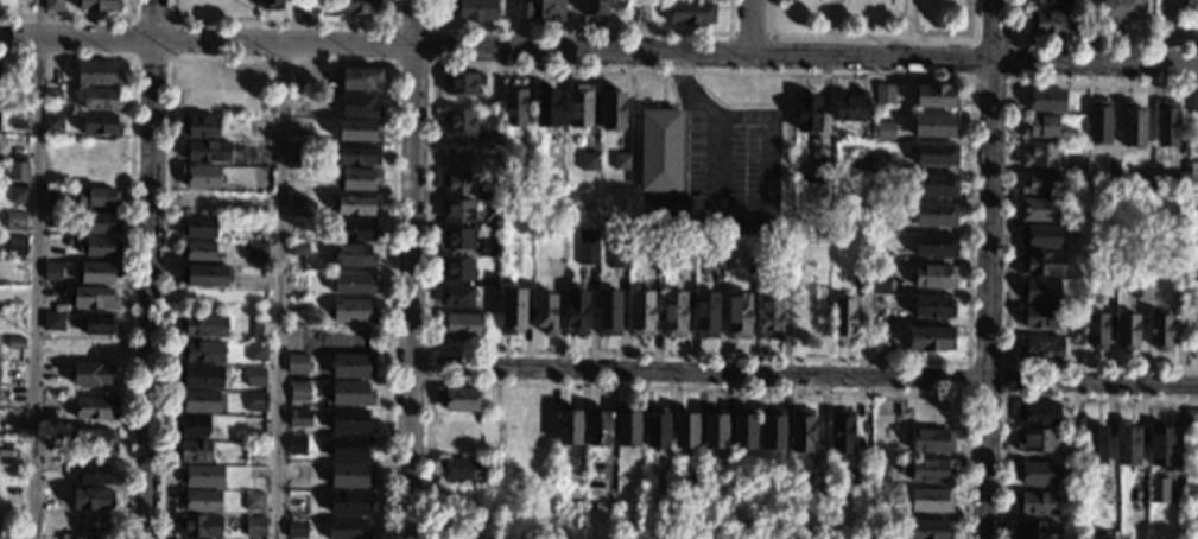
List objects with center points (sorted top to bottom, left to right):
building: (1051, 1)
building: (24, 5)
building: (97, 5)
building: (268, 5)
building: (53, 6)
building: (305, 6)
building: (356, 6)
building: (594, 8)
building: (474, 9)
building: (1121, 9)
building: (521, 11)
building: (550, 11)
building: (634, 12)
building: (690, 12)
building: (1048, 23)
road: (746, 26)
road: (1167, 32)
road: (598, 47)
building: (52, 74)
building: (96, 74)
building: (359, 78)
building: (463, 83)
building: (883, 94)
building: (53, 95)
building: (934, 96)
building: (101, 100)
building: (1046, 101)
building: (1193, 102)
building: (357, 106)
building: (513, 106)
building: (546, 107)
building: (579, 107)
building: (851, 107)
building: (611, 108)
building: (807, 113)
building: (20, 120)
building: (53, 120)
building: (458, 121)
building: (1098, 122)
building: (100, 125)
building: (260, 125)
building: (1132, 125)
building: (1166, 125)
building: (934, 126)
building: (1040, 126)
building: (198, 127)
building: (357, 131)
building: (883, 133)
building: (490, 138)
building: (659, 150)
building: (205, 151)
building: (299, 153)
building: (357, 154)
building: (934, 154)
building: (1039, 154)
building: (524, 160)
building: (588, 161)
building: (622, 161)
building: (874, 161)
building: (1075, 165)
building: (18, 170)
building: (1113, 170)
building: (1192, 171)
building: (817, 172)
building: (201, 177)
building: (359, 179)
building: (1142, 179)
building: (1178, 180)
building: (458, 183)
building: (1038, 183)
building: (934, 185)
building: (881, 191)
road: (989, 191)
building: (18, 195)
building: (490, 195)
building: (53, 196)
building: (95, 197)
building: (1192, 198)
building: (196, 201)
building: (261, 201)
building: (356, 204)
building: (490, 208)
building: (1039, 209)
building: (457, 210)
building: (934, 215)
building: (18, 220)
building: (882, 222)
building: (102, 223)
building: (1084, 227)
building: (198, 228)
building: (354, 229)
building: (1039, 236)
building: (457, 239)
building: (17, 246)
building: (934, 246)
building: (99, 247)
building: (488, 247)
building: (585, 247)
building: (298, 249)
building: (201, 251)
building: (258, 252)
building: (711, 254)
building: (350, 255)
building: (880, 256)
building: (619, 259)
building: (684, 260)
building: (1040, 264)
building: (752, 265)
road: (410, 268)
building: (457, 268)
road: (37, 269)
road: (148, 269)
building: (51, 271)
building: (781, 272)
building: (97, 273)
building: (205, 277)
building: (861, 277)
building: (933, 277)
building: (296, 279)
building: (354, 283)
building: (880, 284)
building: (1139, 288)
building: (1181, 288)
road: (279, 290)
building: (1039, 290)
building: (456, 296)
building: (94, 298)
building: (488, 304)
building: (933, 307)
building: (512, 310)
building: (351, 311)
building: (576, 312)
building: (608, 312)
building: (545, 313)
building: (641, 313)
building: (673, 313)
building: (705, 315)
building: (739, 315)
building: (880, 315)
building: (769, 316)
building: (1038, 316)
building: (843, 319)
building: (52, 322)
building: (96, 323)
building: (462, 325)
building: (203, 326)
building: (1095, 329)
building: (1126, 331)
building: (260, 332)
building: (1159, 332)
building: (931, 338)
building: (880, 340)
building: (15, 343)
building: (1039, 347)
building: (1191, 348)
building: (202, 350)
building: (256, 353)
building: (297, 364)
building: (351, 366)
road: (698, 373)
building: (89, 375)
building: (199, 376)
building: (255, 378)
road: (1092, 385)
building: (298, 392)
building: (350, 393)
building: (457, 399)
building: (197, 401)
building: (256, 401)
building: (95, 407)
building: (1037, 413)
building: (299, 418)
building: (1191, 418)
building: (350, 421)
building: (568, 424)
building: (192, 425)
building: (598, 425)
building: (627, 426)
building: (655, 426)
building: (714, 427)
building: (742, 429)
building: (772, 429)
building: (684, 431)
building: (800, 431)
building: (841, 432)
building: (931, 440)
building: (1035, 440)
building: (90, 443)
building: (1092, 443)
building: (1126, 443)
building: (1159, 444)
building: (297, 445)
building: (350, 448)
building: (254, 450)
building: (192, 451)
building: (1070, 456)
road: (985, 461)
building: (461, 470)
building: (926, 470)
building: (1035, 473)
building: (93, 475)
building: (202, 476)
building: (351, 476)
building: (880, 476)
building: (816, 477)
building: (857, 478)
building: (696, 486)
building: (1191, 488)
building: (1156, 489)
building: (50, 496)
building: (91, 499)
building: (198, 501)
building: (254, 501)
building: (931, 501)
building: (349, 502)
building: (1035, 502)
building: (1190, 519)
building: (198, 526)
building: (254, 526)
building: (296, 528)
building: (347, 528)
building: (926, 528)
building: (1035, 531)
building: (88, 538)

